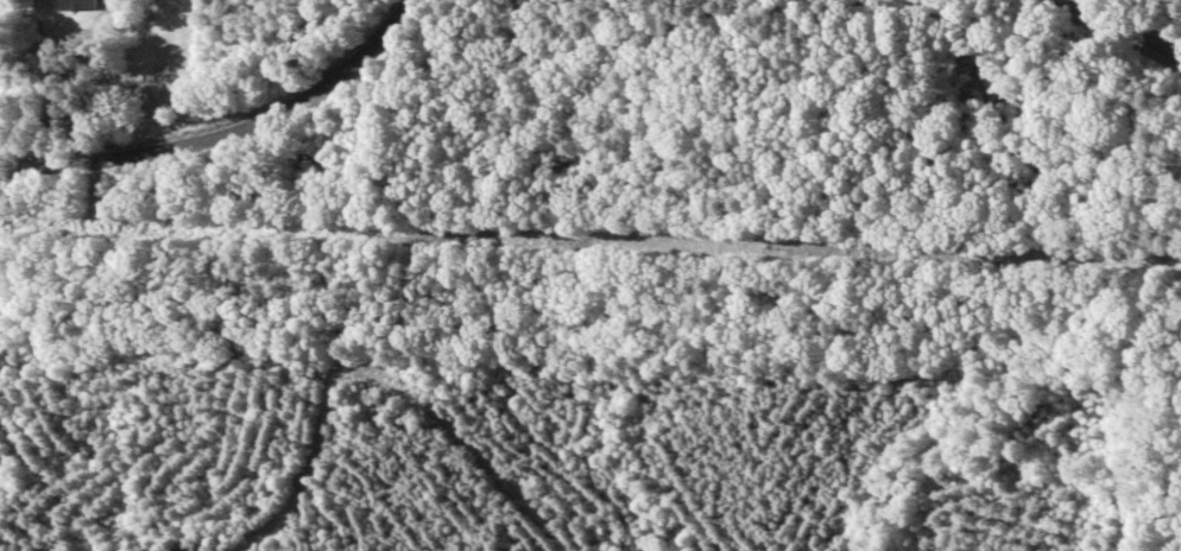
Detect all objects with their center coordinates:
road: (1129, 23)
road: (217, 114)

